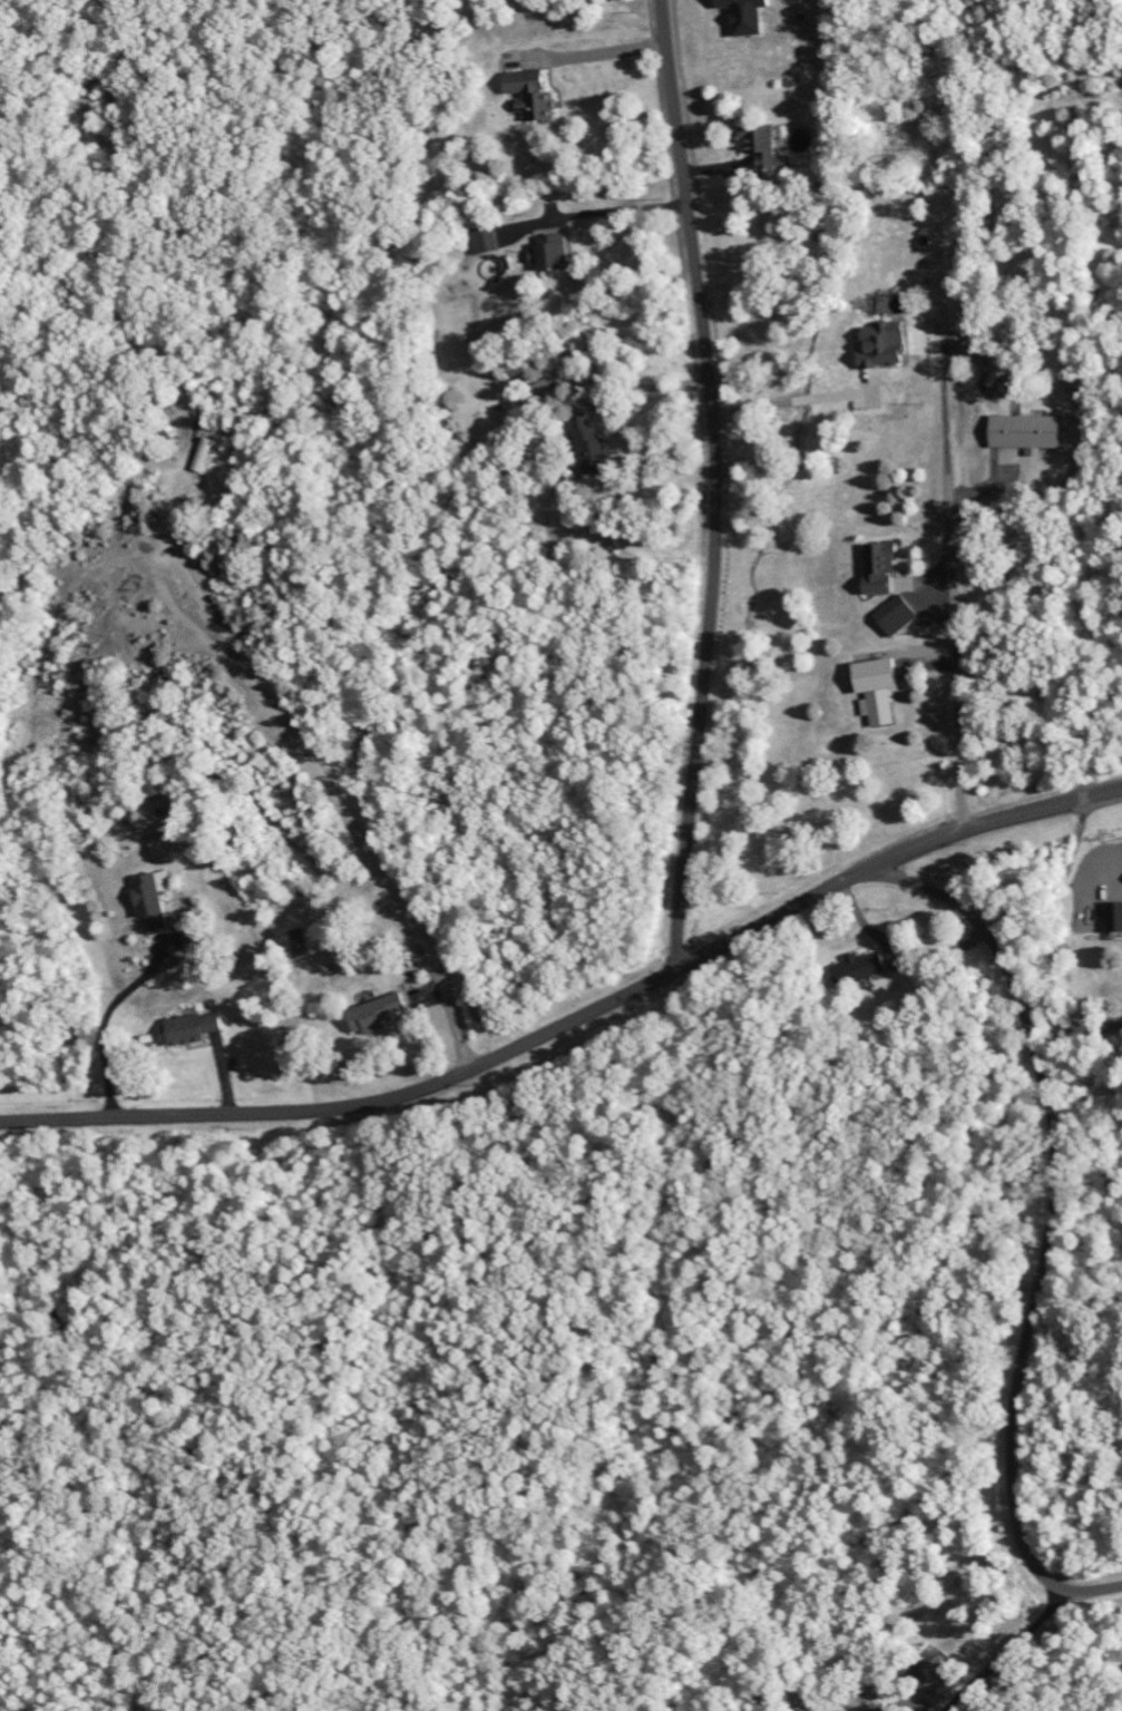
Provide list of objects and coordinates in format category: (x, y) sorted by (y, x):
building: (742, 16)
building: (527, 94)
building: (759, 148)
building: (481, 241)
building: (547, 252)
building: (880, 345)
building: (547, 384)
building: (586, 443)
building: (201, 453)
road: (946, 473)
road: (718, 483)
building: (879, 569)
building: (889, 616)
building: (876, 688)
building: (152, 793)
road: (988, 819)
building: (154, 902)
building: (1112, 919)
building: (856, 968)
building: (372, 1009)
road: (456, 1016)
building: (192, 1029)
building: (145, 1038)
road: (106, 1064)
road: (452, 1074)
road: (1047, 1223)

